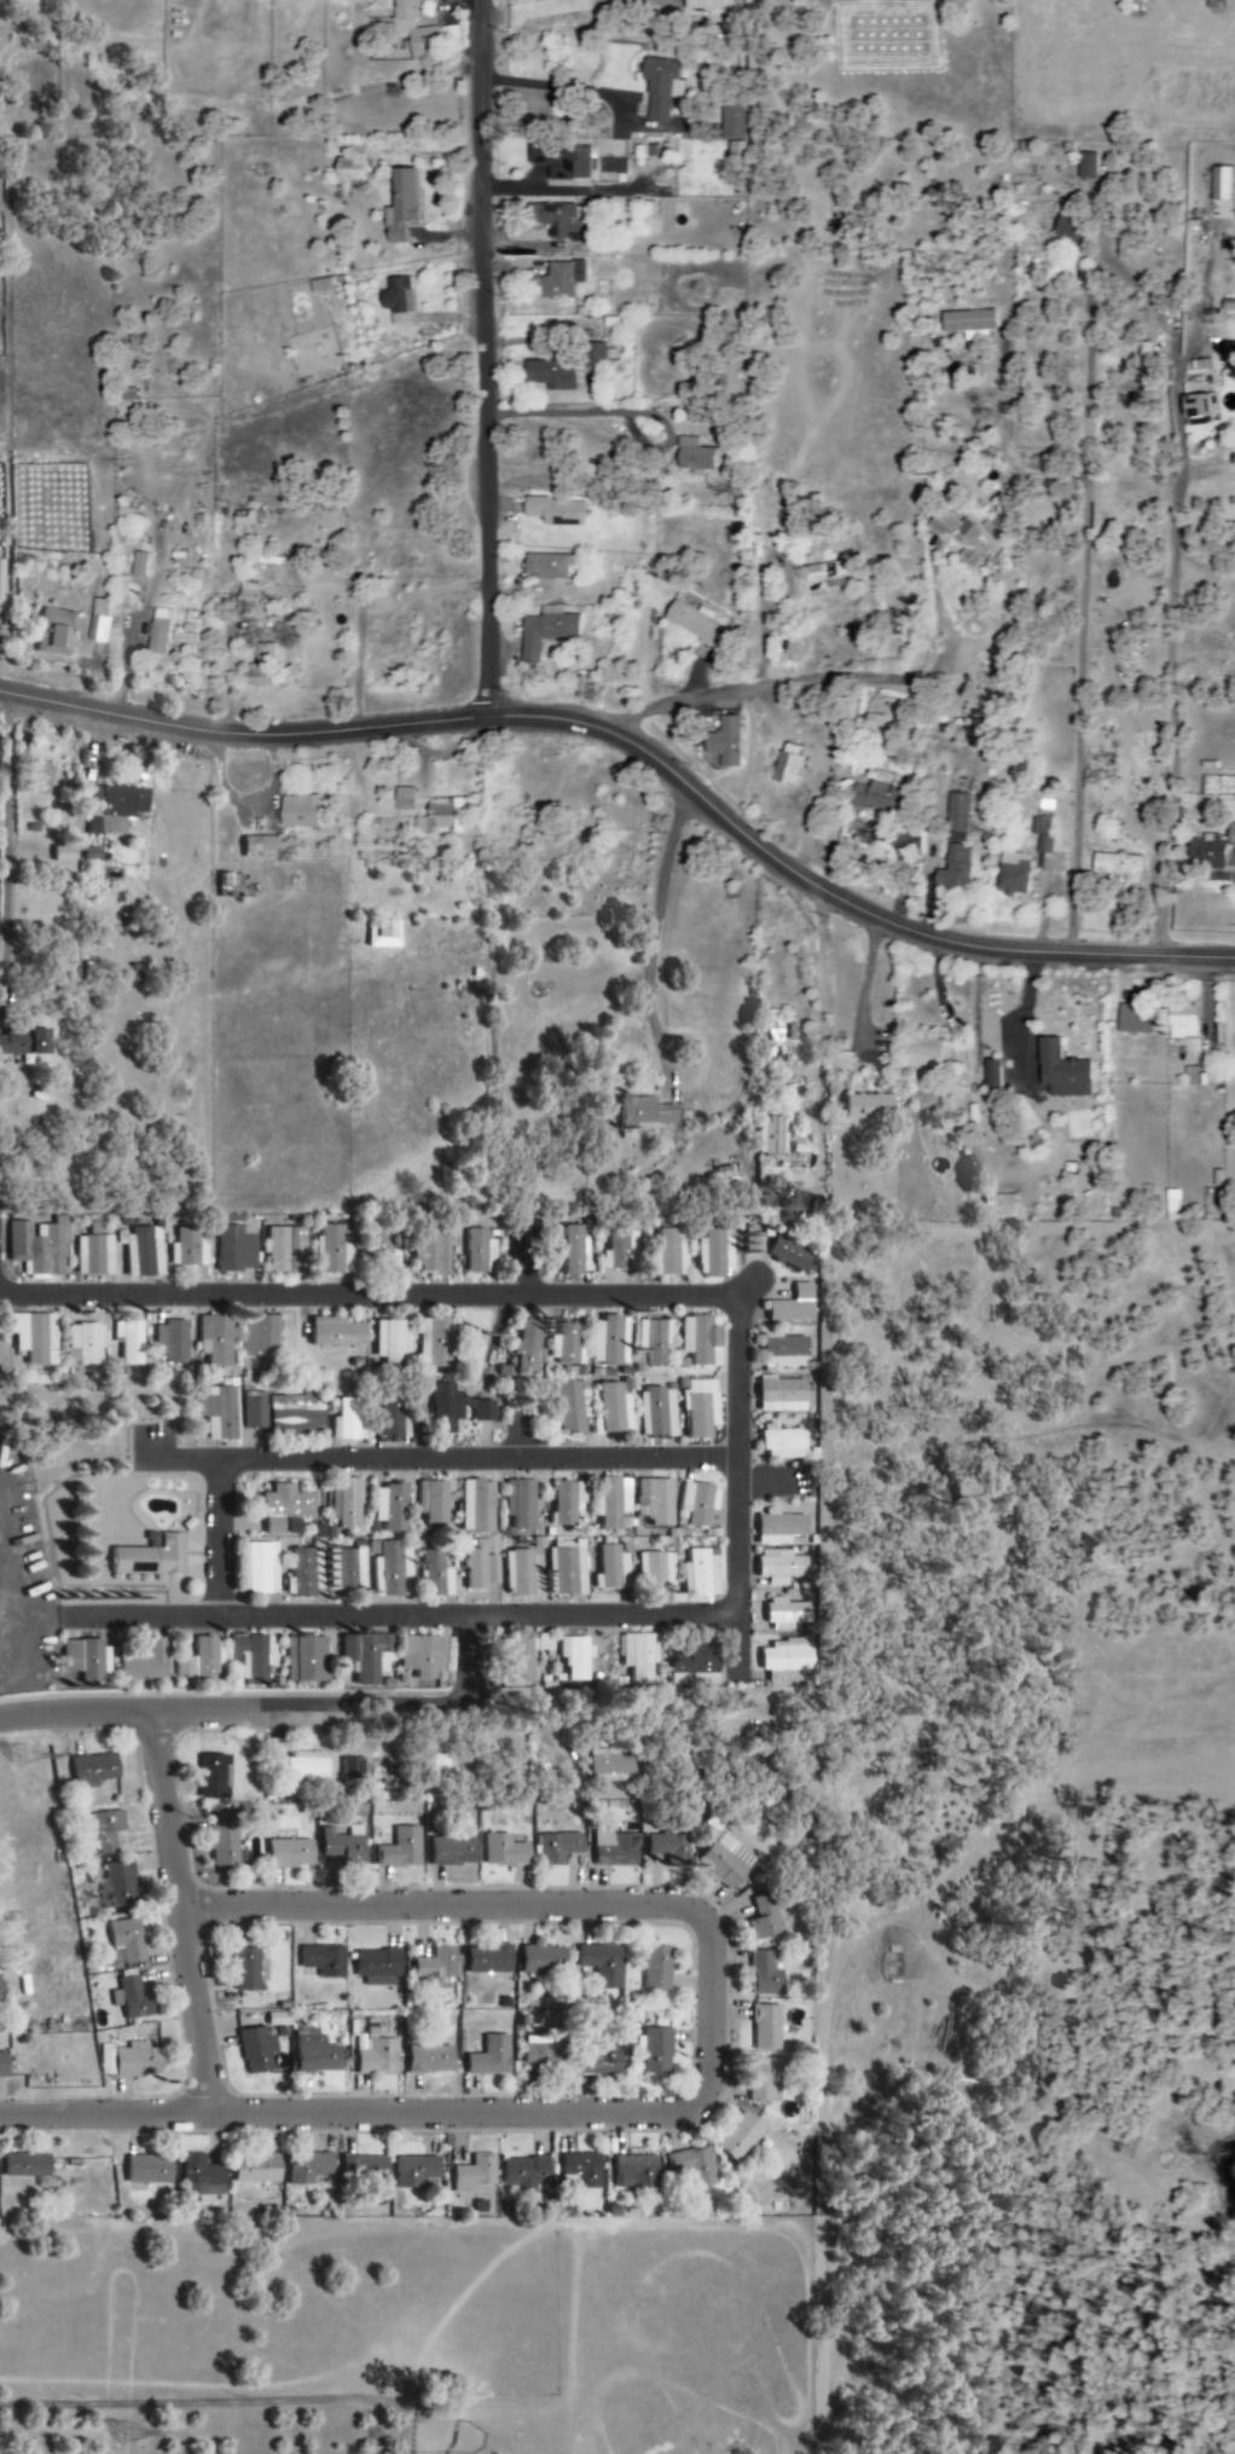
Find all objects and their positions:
building: (700, 5)
building: (1211, 5)
building: (413, 31)
building: (659, 88)
building: (730, 121)
building: (559, 161)
building: (1084, 166)
building: (347, 174)
building: (398, 204)
building: (647, 209)
building: (561, 221)
building: (1068, 222)
building: (555, 280)
building: (395, 301)
building: (967, 324)
building: (1227, 352)
building: (591, 355)
road: (485, 359)
building: (551, 371)
building: (976, 403)
building: (1196, 407)
road: (572, 413)
building: (692, 456)
building: (553, 511)
building: (958, 538)
building: (544, 567)
building: (828, 572)
building: (2, 579)
building: (102, 621)
building: (692, 623)
road: (1080, 624)
building: (544, 631)
building: (161, 632)
building: (58, 633)
building: (265, 666)
road: (765, 682)
building: (723, 742)
road: (642, 747)
building: (783, 770)
building: (42, 780)
building: (874, 794)
building: (407, 799)
building: (117, 809)
building: (303, 812)
building: (442, 818)
building: (955, 818)
building: (1230, 835)
building: (1040, 840)
building: (263, 846)
building: (64, 853)
building: (93, 855)
building: (1204, 855)
building: (1115, 867)
building: (952, 868)
building: (1010, 874)
road: (489, 907)
road: (655, 920)
building: (385, 934)
building: (1132, 1021)
building: (1181, 1021)
building: (25, 1041)
building: (924, 1055)
building: (1060, 1072)
building: (988, 1073)
building: (1193, 1077)
building: (866, 1107)
building: (648, 1112)
building: (770, 1136)
building: (723, 1176)
building: (37, 1246)
building: (283, 1248)
building: (237, 1249)
building: (335, 1250)
building: (576, 1250)
building: (143, 1251)
building: (617, 1251)
building: (430, 1252)
building: (480, 1252)
building: (672, 1252)
building: (717, 1252)
building: (95, 1255)
building: (792, 1255)
building: (795, 1306)
road: (367, 1307)
building: (338, 1333)
building: (263, 1336)
building: (36, 1338)
building: (219, 1339)
building: (611, 1341)
building: (133, 1342)
building: (174, 1342)
building: (530, 1342)
building: (435, 1343)
building: (88, 1344)
building: (389, 1344)
building: (654, 1344)
building: (785, 1350)
building: (505, 1370)
building: (783, 1395)
building: (574, 1407)
building: (445, 1408)
building: (701, 1408)
building: (254, 1410)
building: (614, 1410)
building: (485, 1411)
building: (219, 1412)
building: (657, 1413)
building: (296, 1416)
building: (392, 1417)
building: (348, 1420)
road: (381, 1433)
building: (783, 1443)
road: (419, 1470)
building: (657, 1501)
building: (569, 1503)
building: (349, 1504)
building: (434, 1504)
building: (523, 1504)
building: (615, 1504)
building: (700, 1505)
building: (393, 1507)
building: (480, 1507)
road: (732, 1509)
building: (288, 1510)
building: (776, 1528)
road: (221, 1549)
building: (155, 1557)
building: (777, 1567)
building: (262, 1569)
building: (569, 1569)
building: (611, 1569)
building: (655, 1569)
building: (395, 1570)
building: (482, 1570)
building: (523, 1573)
building: (305, 1574)
building: (701, 1574)
building: (437, 1575)
building: (782, 1614)
road: (381, 1628)
building: (369, 1654)
building: (424, 1656)
building: (639, 1656)
building: (250, 1657)
building: (576, 1659)
building: (86, 1660)
building: (307, 1660)
building: (146, 1662)
building: (202, 1662)
building: (783, 1662)
road: (459, 1667)
building: (691, 1667)
road: (404, 1707)
power tower: (29, 1758)
building: (607, 1766)
building: (98, 1771)
building: (354, 1772)
building: (441, 1772)
building: (214, 1777)
building: (104, 1834)
building: (227, 1840)
building: (343, 1844)
building: (663, 1846)
building: (556, 1847)
building: (614, 1848)
building: (401, 1850)
building: (504, 1851)
building: (454, 1852)
building: (292, 1854)
building: (723, 1860)
building: (122, 1886)
road: (184, 1915)
building: (761, 1917)
building: (131, 1940)
building: (485, 1960)
building: (541, 1960)
building: (326, 1962)
building: (601, 1963)
building: (434, 1966)
building: (377, 1967)
building: (654, 1968)
building: (251, 1970)
building: (761, 1974)
building: (2, 1990)
building: (134, 1999)
building: (763, 2027)
building: (654, 2050)
building: (259, 2051)
building: (314, 2051)
building: (541, 2054)
building: (488, 2057)
building: (376, 2059)
building: (427, 2059)
building: (598, 2059)
building: (133, 2062)
building: (5, 2066)
building: (761, 2079)
road: (705, 2099)
building: (737, 2137)
building: (28, 2166)
building: (691, 2166)
building: (305, 2167)
building: (251, 2169)
building: (579, 2169)
building: (361, 2170)
building: (151, 2171)
building: (412, 2171)
building: (521, 2171)
building: (632, 2171)
building: (470, 2175)
building: (197, 2176)
road: (238, 2392)
power tower: (135, 2437)

